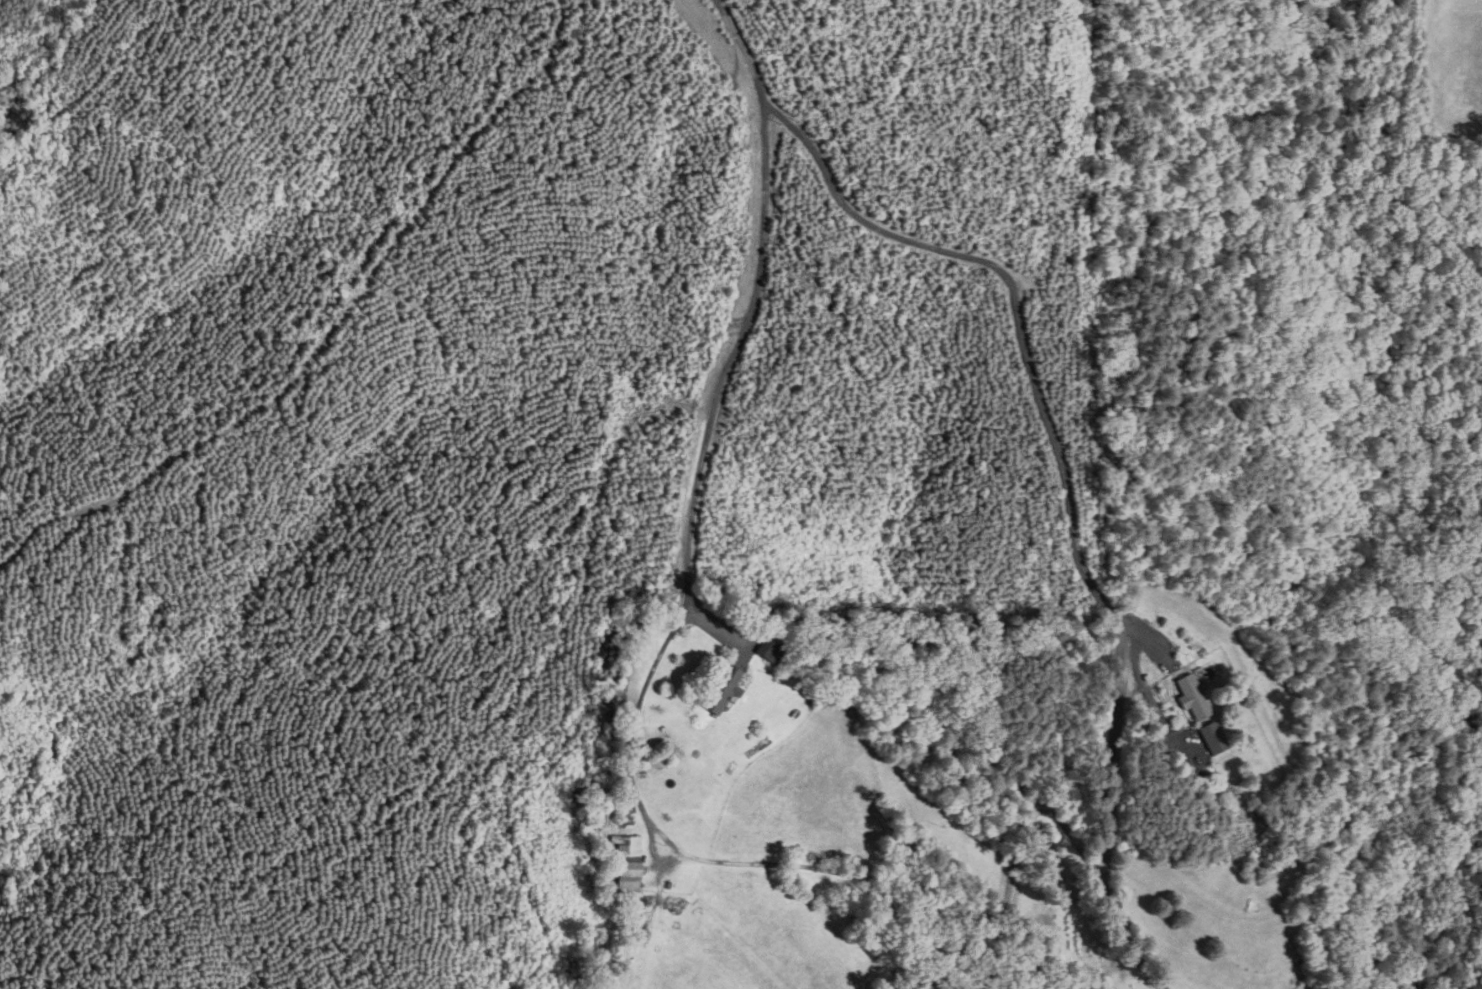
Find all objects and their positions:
road: (1028, 331)
road: (711, 413)
building: (765, 652)
building: (717, 689)
building: (1189, 697)
building: (1209, 738)
building: (622, 862)

